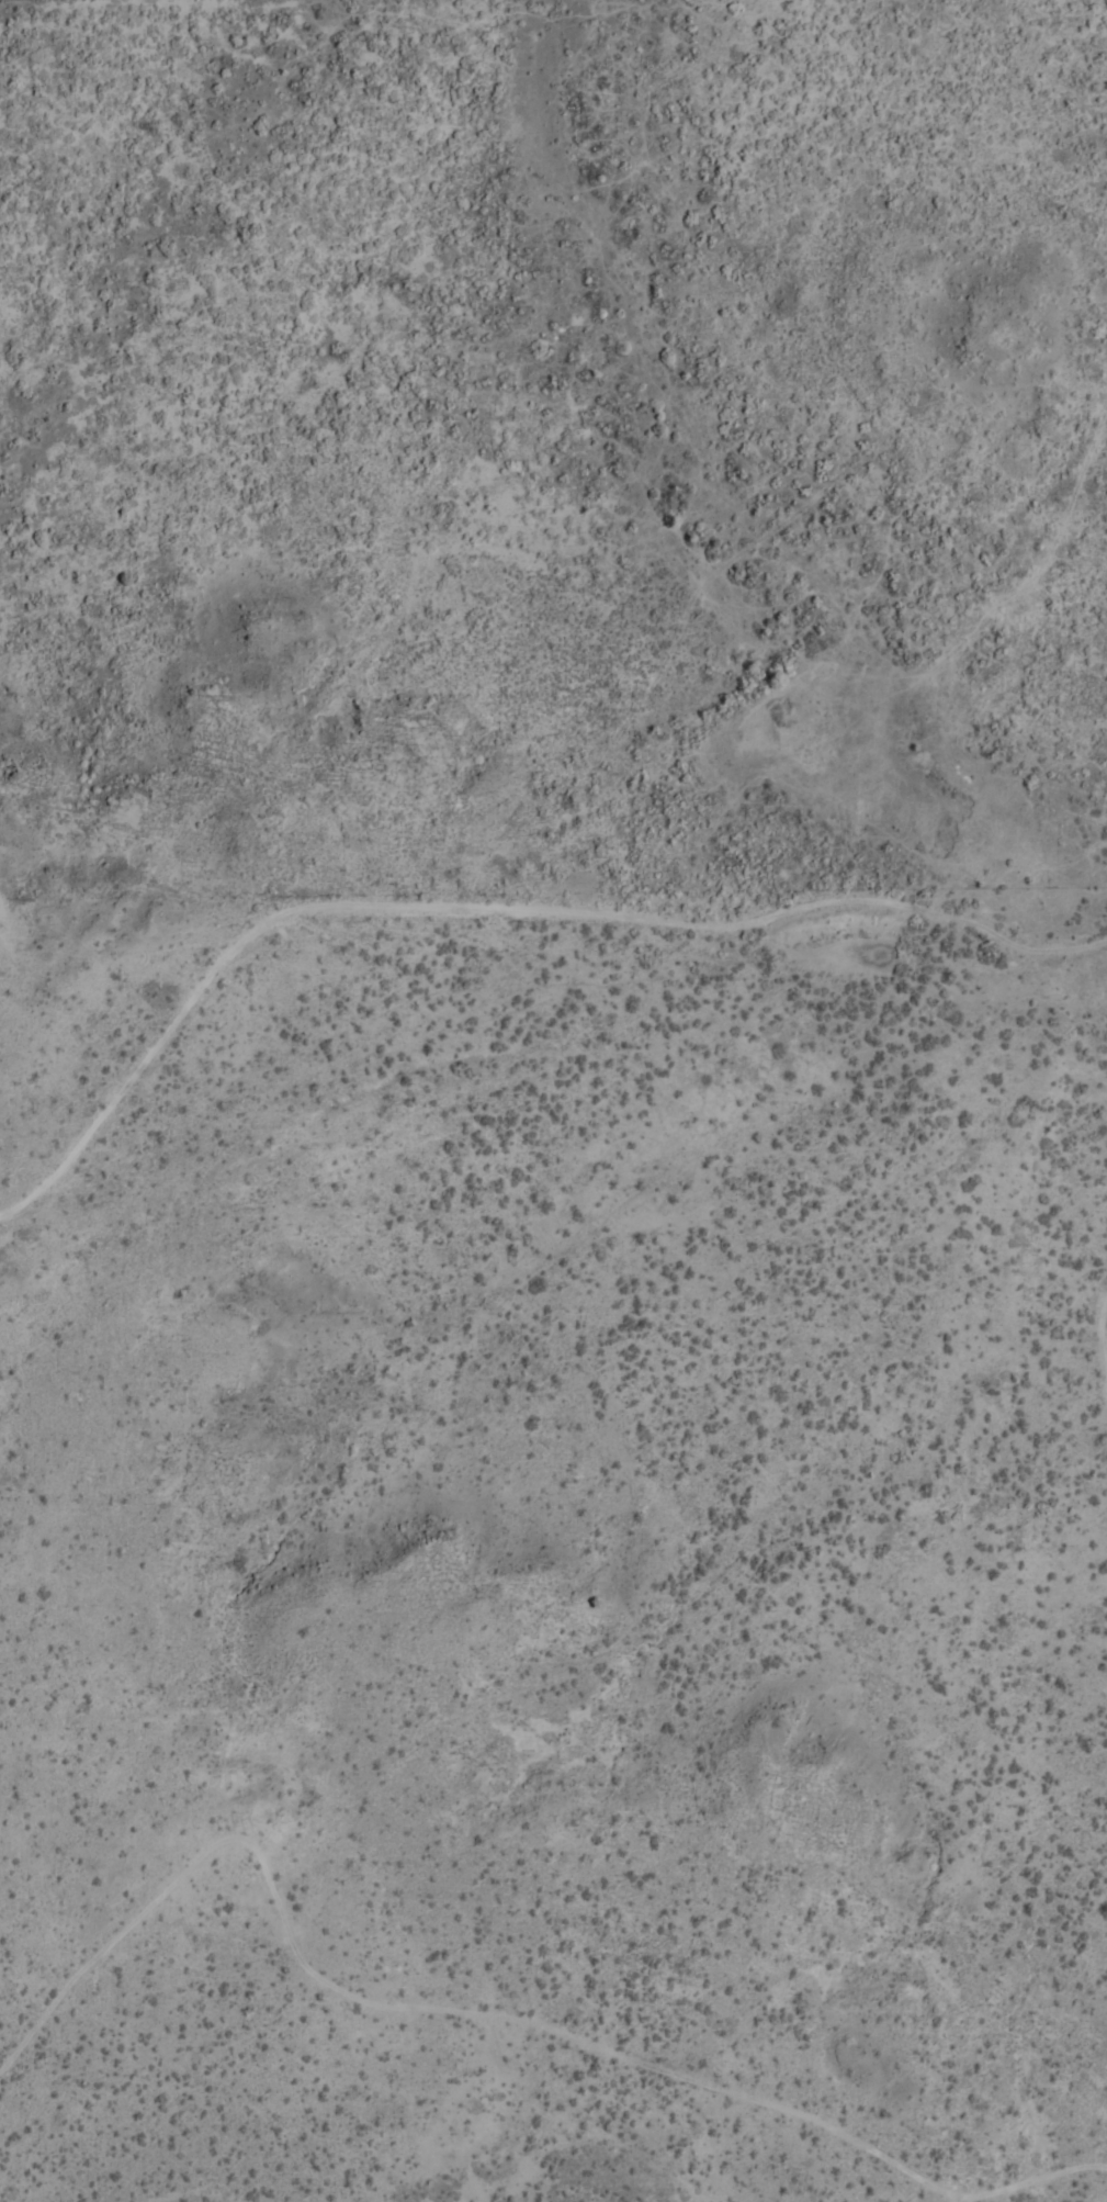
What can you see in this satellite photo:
road: (523, 945)

